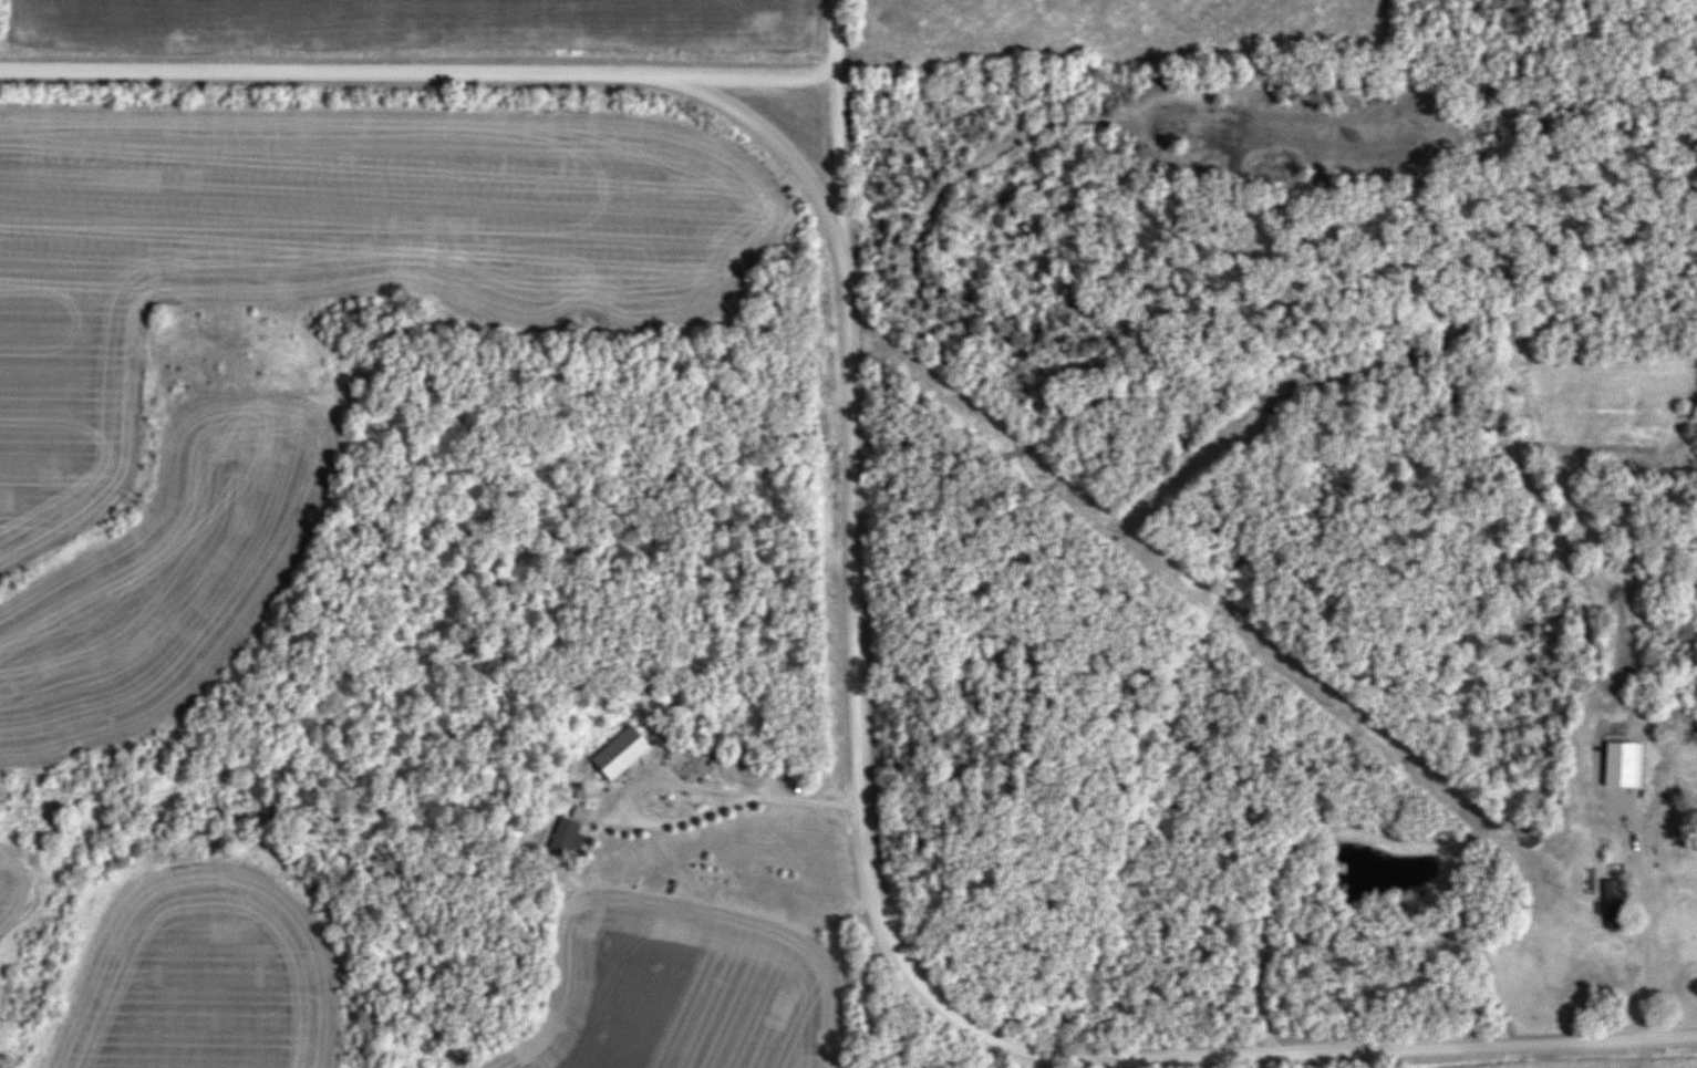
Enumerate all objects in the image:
road: (837, 32)
road: (423, 79)
road: (778, 139)
building: (1631, 760)
road: (718, 795)
building: (588, 799)
building: (569, 837)
road: (1644, 883)
building: (1614, 908)
road: (879, 931)

